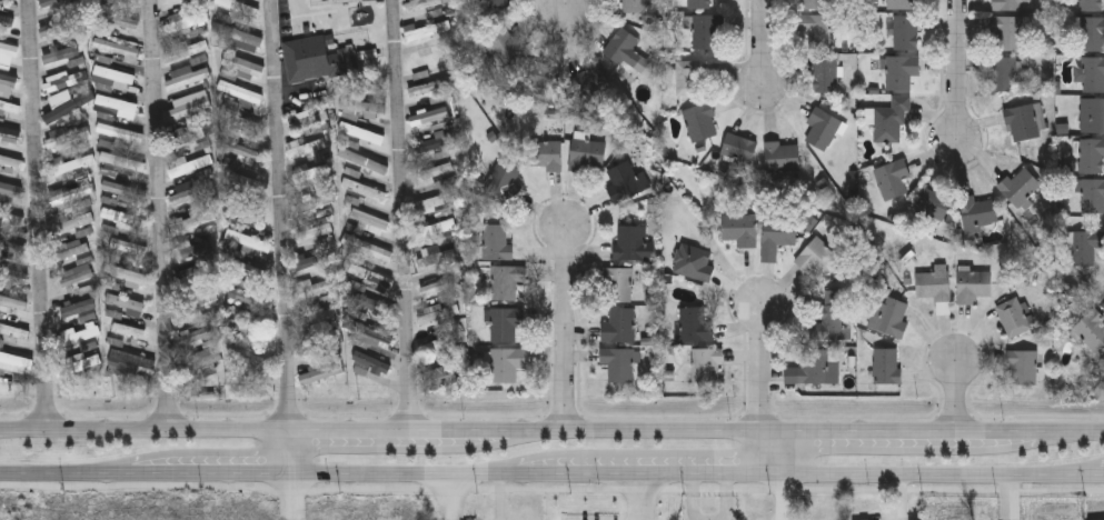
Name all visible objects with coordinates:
building: (121, 0)
building: (169, 1)
building: (52, 2)
building: (498, 2)
building: (698, 3)
building: (812, 3)
building: (901, 3)
building: (421, 4)
road: (568, 4)
building: (1008, 4)
building: (1092, 4)
building: (634, 6)
building: (239, 7)
building: (118, 20)
building: (6, 21)
building: (185, 21)
building: (61, 23)
building: (816, 28)
building: (427, 31)
building: (707, 31)
building: (906, 31)
building: (1007, 32)
building: (1092, 33)
building: (238, 34)
road: (764, 41)
building: (503, 46)
building: (116, 48)
building: (9, 49)
building: (626, 50)
building: (186, 51)
building: (60, 54)
building: (317, 59)
building: (428, 59)
building: (243, 66)
road: (958, 69)
building: (901, 70)
building: (1005, 73)
building: (115, 74)
building: (1093, 74)
building: (824, 76)
building: (590, 78)
building: (687, 78)
building: (188, 79)
building: (543, 79)
building: (8, 80)
building: (429, 88)
building: (240, 92)
building: (117, 104)
building: (189, 104)
building: (10, 107)
building: (358, 108)
building: (66, 109)
building: (1096, 114)
building: (429, 117)
building: (310, 118)
building: (699, 120)
building: (889, 121)
building: (1022, 122)
building: (243, 126)
building: (823, 128)
building: (120, 132)
building: (9, 133)
building: (361, 133)
building: (68, 136)
building: (190, 137)
building: (434, 142)
building: (738, 147)
building: (305, 148)
building: (240, 150)
building: (586, 153)
building: (544, 154)
building: (1091, 154)
building: (782, 156)
building: (360, 160)
building: (10, 162)
building: (73, 162)
building: (122, 162)
building: (190, 166)
building: (435, 168)
building: (312, 173)
building: (892, 178)
building: (242, 180)
building: (504, 180)
building: (623, 181)
building: (1020, 186)
building: (364, 189)
building: (123, 190)
building: (192, 190)
building: (9, 192)
building: (70, 193)
building: (1092, 194)
building: (316, 202)
building: (932, 204)
building: (243, 211)
building: (977, 211)
road: (38, 213)
road: (161, 213)
road: (405, 214)
building: (125, 217)
building: (11, 218)
building: (192, 220)
building: (367, 220)
building: (72, 221)
building: (439, 228)
building: (739, 228)
building: (314, 229)
building: (779, 230)
road: (282, 237)
building: (445, 241)
building: (630, 241)
building: (248, 242)
building: (496, 242)
building: (11, 246)
building: (1085, 246)
building: (128, 247)
building: (368, 248)
building: (71, 249)
building: (196, 250)
building: (817, 257)
building: (436, 258)
building: (312, 260)
building: (248, 270)
building: (126, 274)
building: (12, 277)
building: (371, 278)
building: (196, 280)
building: (505, 281)
building: (616, 282)
building: (933, 284)
building: (973, 284)
building: (439, 287)
building: (316, 288)
building: (252, 300)
building: (125, 302)
building: (12, 303)
building: (372, 304)
building: (80, 307)
building: (197, 307)
building: (438, 313)
building: (888, 316)
building: (1013, 316)
building: (319, 317)
building: (829, 317)
building: (505, 322)
building: (619, 324)
building: (695, 324)
road: (565, 329)
building: (1091, 329)
building: (129, 330)
building: (13, 331)
building: (79, 334)
building: (368, 341)
building: (436, 344)
building: (132, 359)
building: (251, 359)
building: (371, 361)
building: (507, 362)
building: (617, 362)
building: (14, 363)
building: (704, 363)
building: (79, 366)
building: (816, 366)
building: (886, 366)
building: (1022, 367)
building: (442, 376)
road: (759, 390)
road: (957, 397)
road: (551, 430)
road: (64, 476)
road: (210, 476)
road: (404, 476)
road: (637, 476)
road: (928, 476)
road: (1102, 476)
road: (551, 489)
road: (641, 497)
road: (782, 497)
road: (454, 498)
road: (693, 498)
road: (726, 498)

